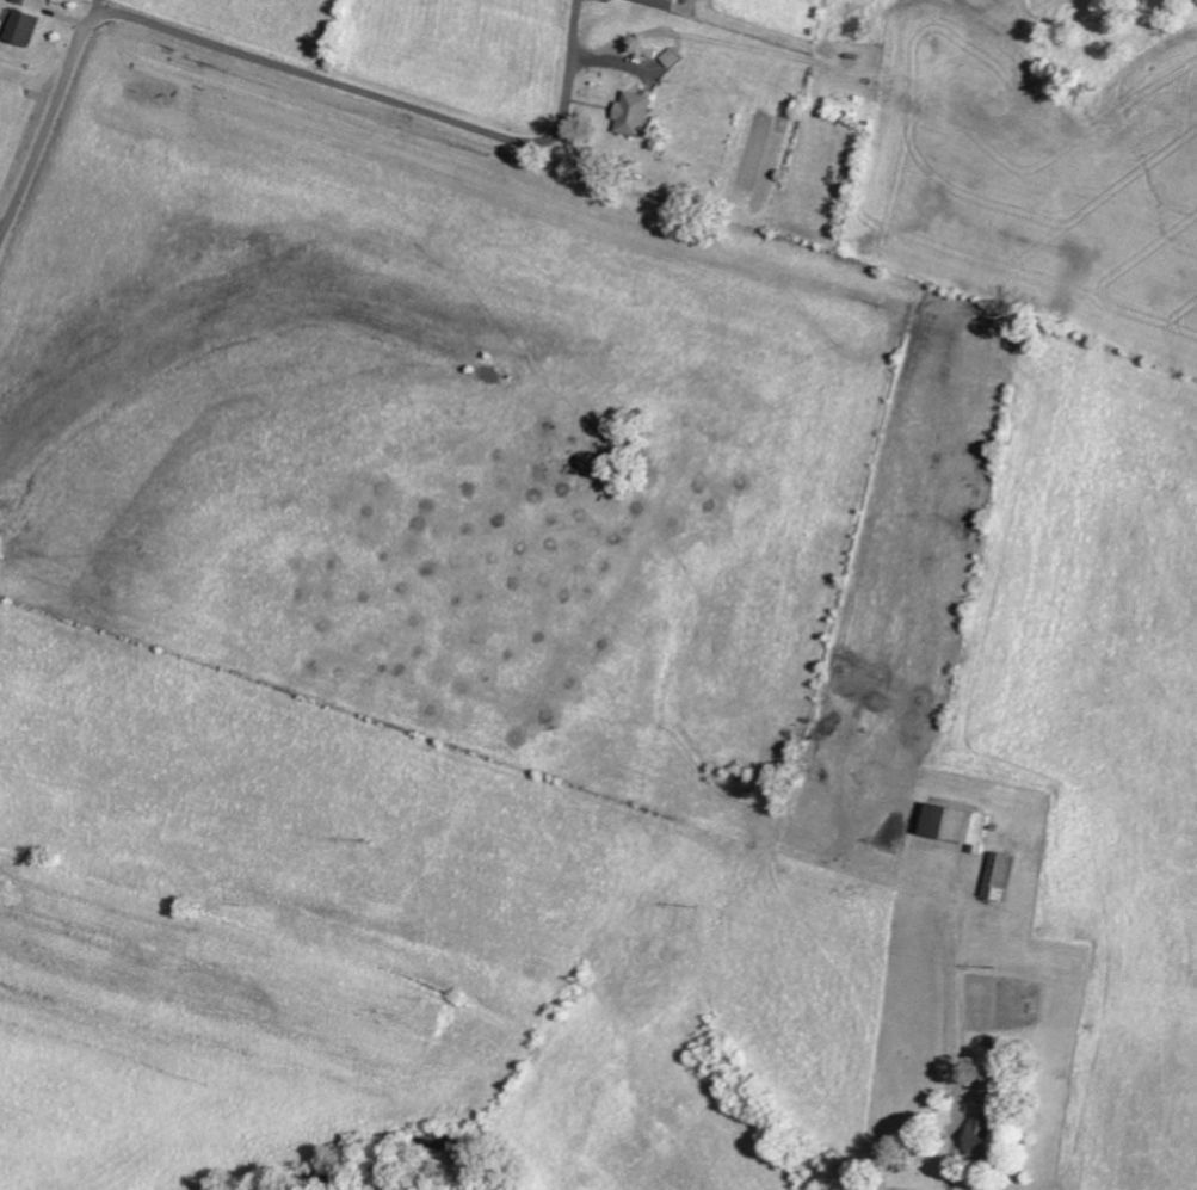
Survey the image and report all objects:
building: (665, 4)
road: (103, 7)
building: (29, 26)
road: (246, 54)
building: (637, 113)
building: (963, 822)
building: (1004, 874)
building: (986, 1126)

